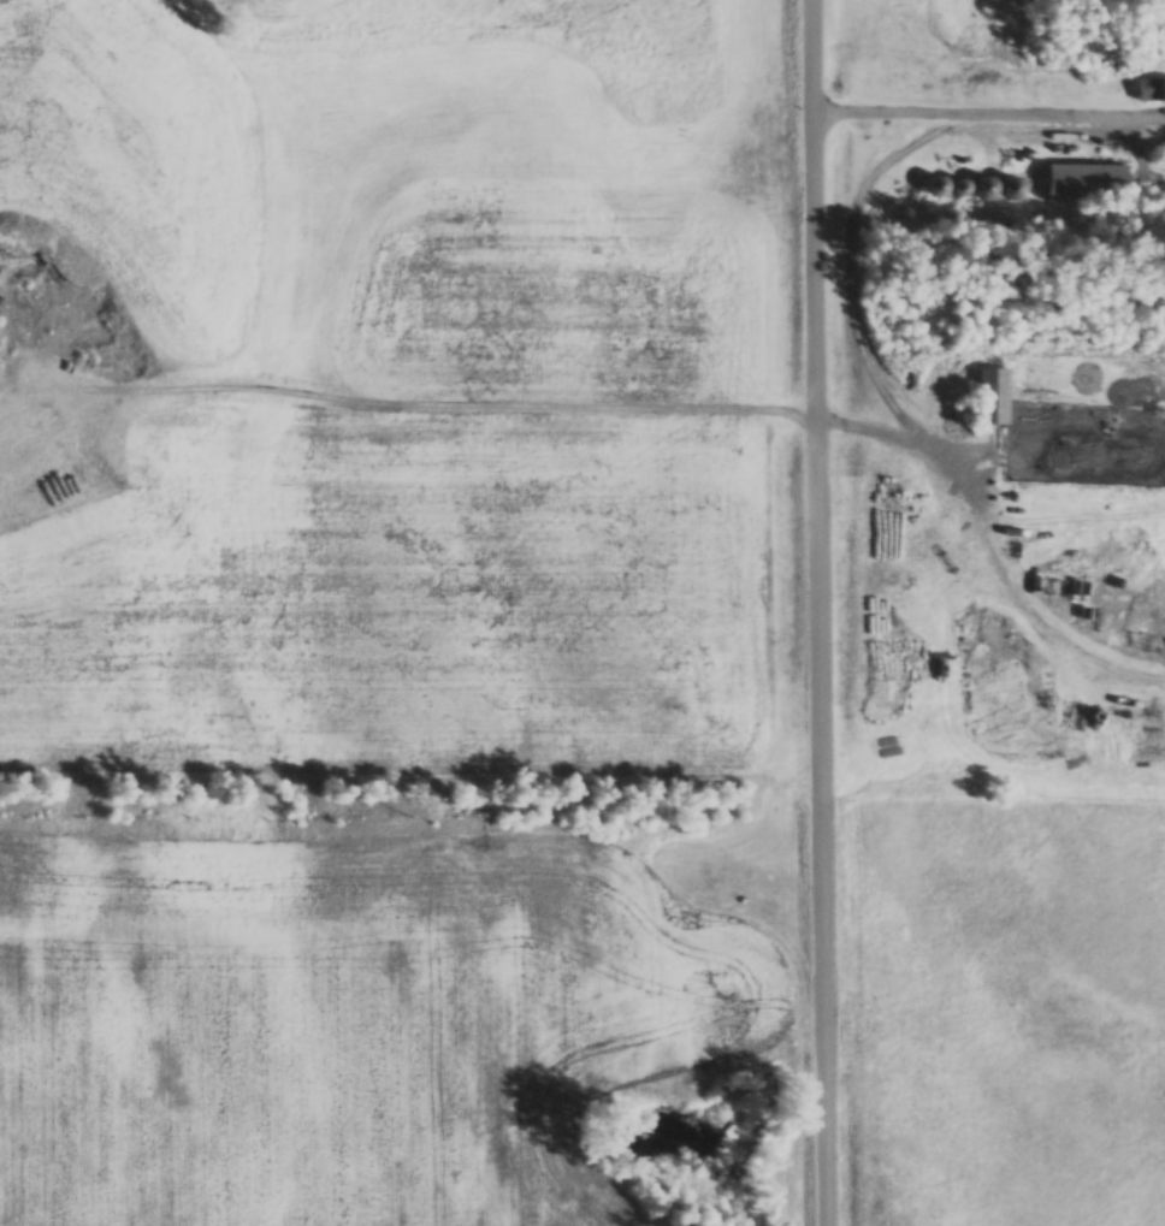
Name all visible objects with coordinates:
building: (1151, 90)
road: (988, 108)
building: (1160, 152)
building: (1087, 183)
building: (994, 397)
road: (821, 612)

